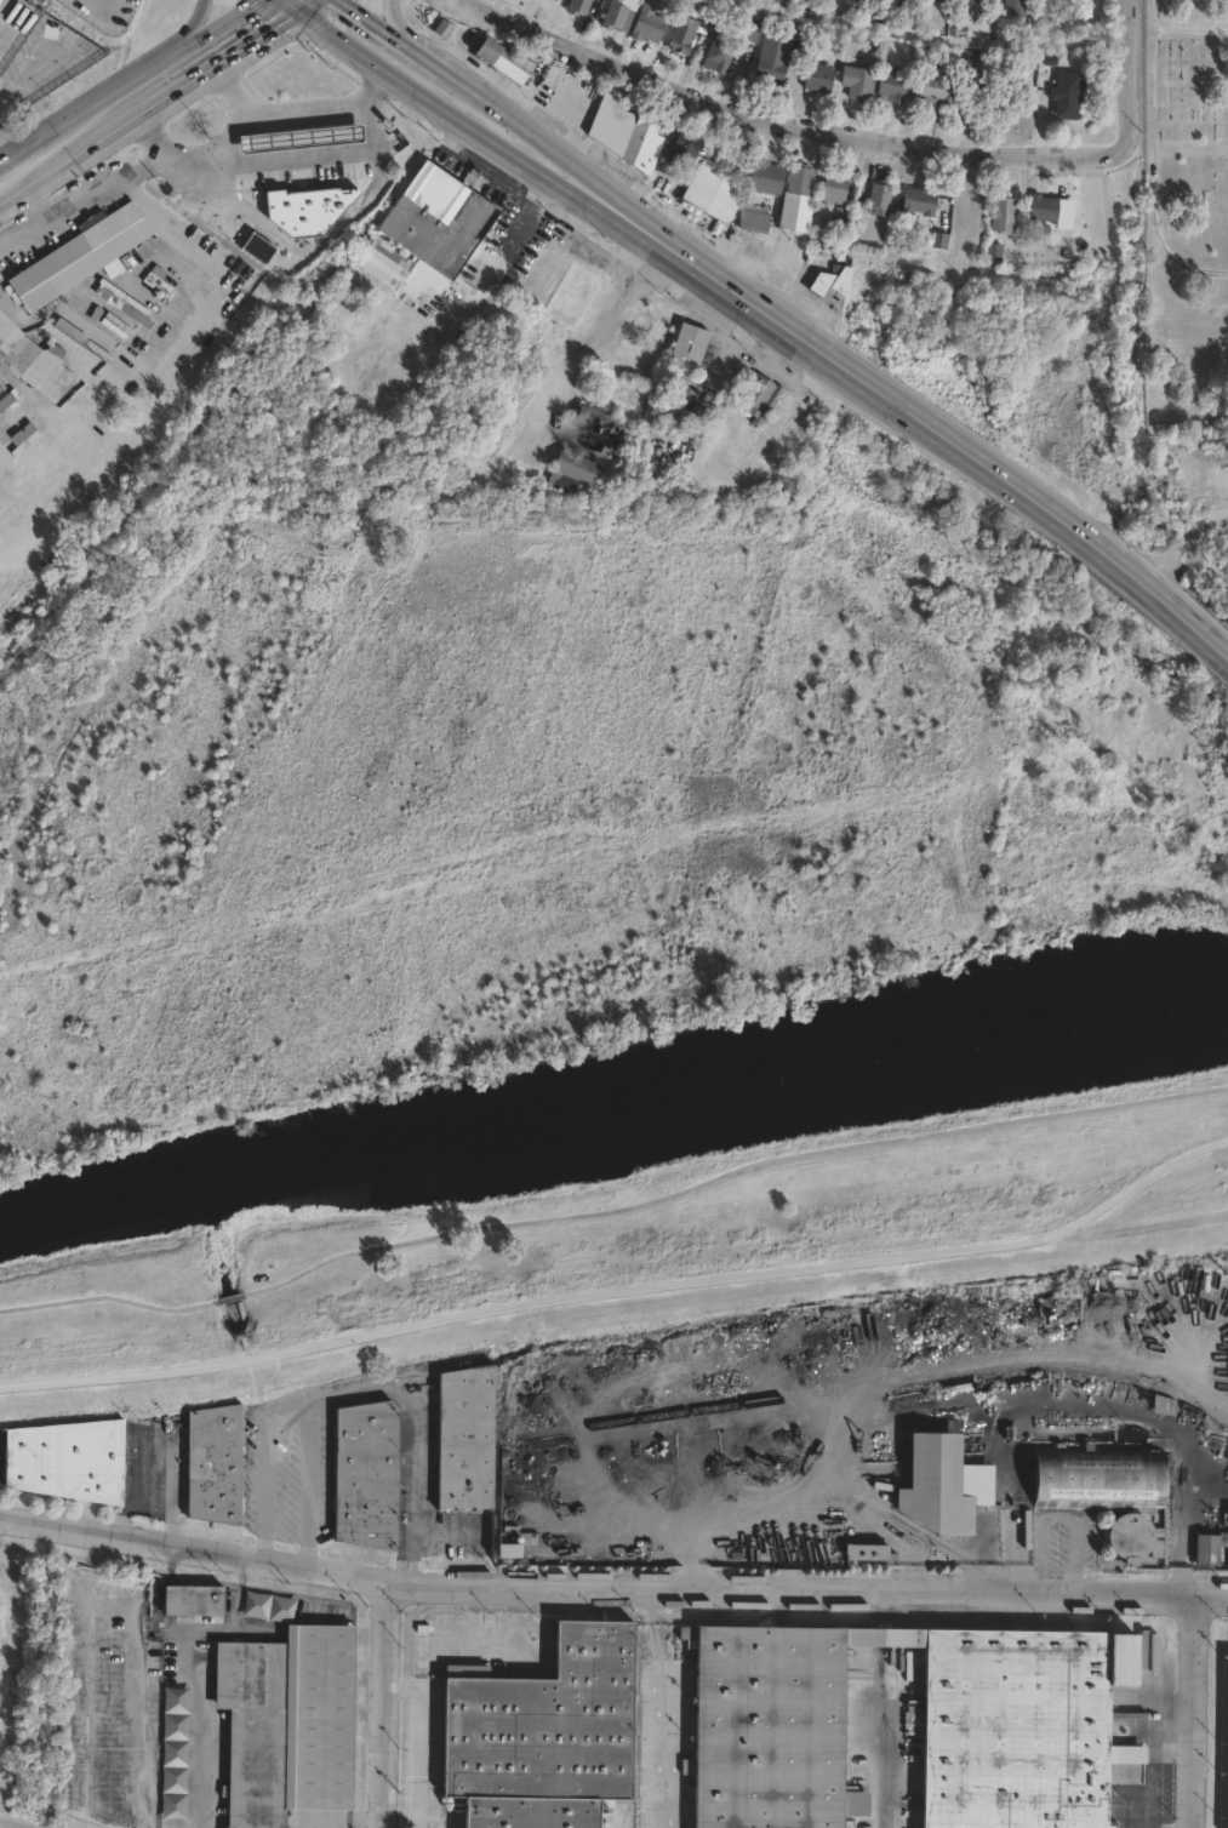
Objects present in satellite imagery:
building: (559, 0)
building: (946, 0)
building: (553, 1)
road: (307, 6)
building: (581, 6)
building: (1018, 8)
traffic signals: (297, 13)
building: (618, 13)
building: (650, 23)
building: (960, 25)
building: (752, 29)
building: (690, 32)
road: (209, 33)
road: (392, 33)
road: (184, 34)
road: (410, 35)
road: (233, 53)
building: (719, 53)
building: (778, 53)
building: (507, 61)
building: (979, 61)
building: (819, 79)
building: (858, 82)
building: (893, 86)
building: (939, 87)
building: (978, 91)
building: (1069, 95)
building: (999, 97)
road: (84, 110)
road: (276, 116)
road: (461, 125)
building: (628, 130)
road: (863, 130)
building: (295, 136)
gas station: (295, 136)
road: (98, 141)
road: (5, 148)
road: (549, 148)
building: (685, 149)
road: (5, 159)
road: (188, 161)
road: (1154, 161)
road: (287, 162)
road: (19, 172)
building: (767, 177)
road: (105, 183)
building: (835, 188)
building: (715, 193)
road: (15, 196)
building: (880, 198)
building: (305, 200)
building: (799, 201)
road: (38, 204)
building: (921, 204)
building: (1044, 208)
park: (1184, 208)
road: (529, 212)
building: (1005, 215)
building: (756, 218)
building: (439, 219)
building: (839, 227)
road: (23, 234)
road: (315, 241)
building: (257, 249)
building: (995, 253)
building: (79, 255)
building: (387, 261)
building: (832, 281)
building: (573, 295)
building: (122, 307)
building: (650, 330)
building: (79, 336)
road: (588, 338)
building: (690, 348)
building: (35, 360)
building: (0, 390)
building: (7, 399)
building: (760, 399)
building: (598, 429)
building: (16, 434)
road: (946, 441)
building: (575, 473)
park: (595, 886)
river: (613, 1120)
road: (611, 1205)
road: (623, 1283)
road: (354, 1393)
building: (467, 1439)
building: (69, 1459)
building: (216, 1464)
building: (369, 1475)
building: (1100, 1478)
road: (307, 1485)
building: (937, 1485)
road: (1187, 1521)
building: (507, 1543)
building: (1212, 1548)
building: (867, 1552)
road: (610, 1587)
road: (88, 1593)
building: (194, 1600)
building: (0, 1604)
building: (268, 1606)
building: (1017, 1697)
road: (382, 1704)
road: (1195, 1713)
building: (314, 1716)
building: (250, 1730)
building: (544, 1733)
road: (418, 1742)
building: (173, 1753)
road: (1152, 1755)
road: (879, 1760)
building: (1227, 1801)
road: (139, 1818)
road: (396, 1821)
road: (618, 1823)
road: (1, 1827)

